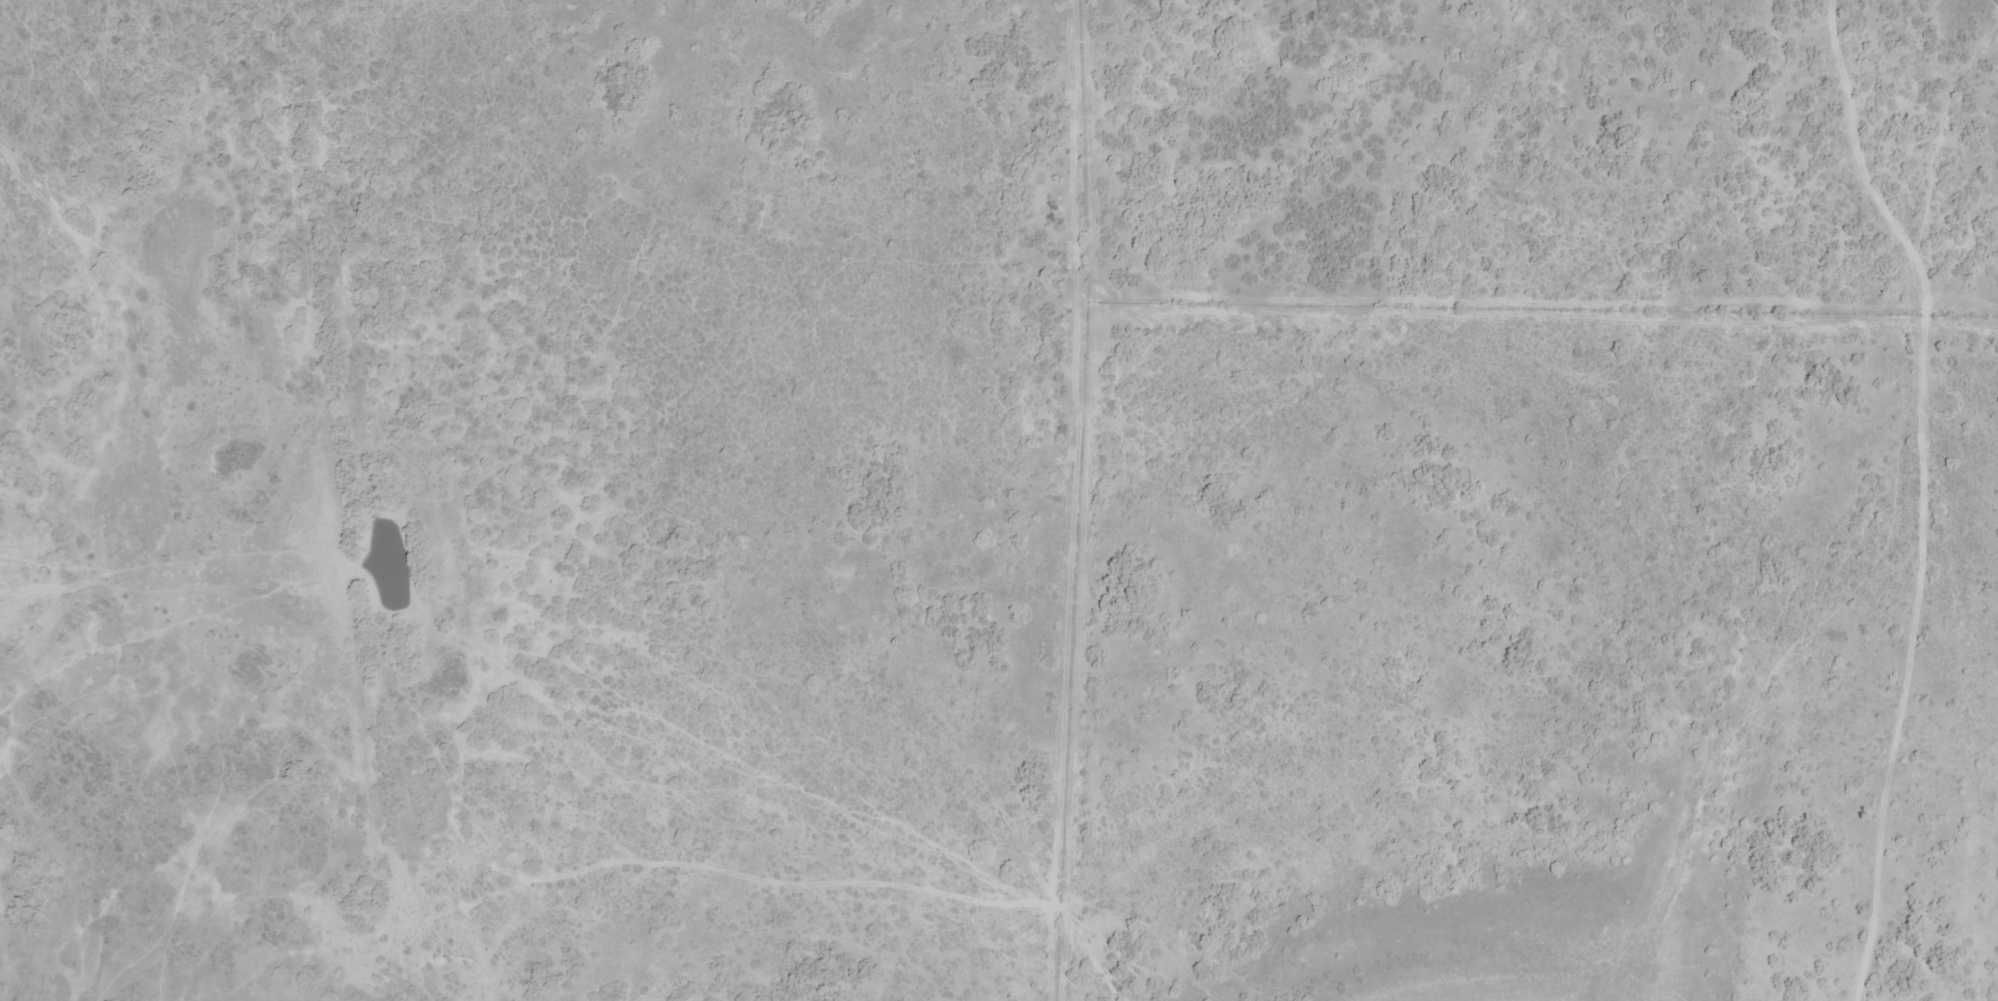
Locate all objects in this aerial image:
road: (1932, 281)
road: (1970, 855)

